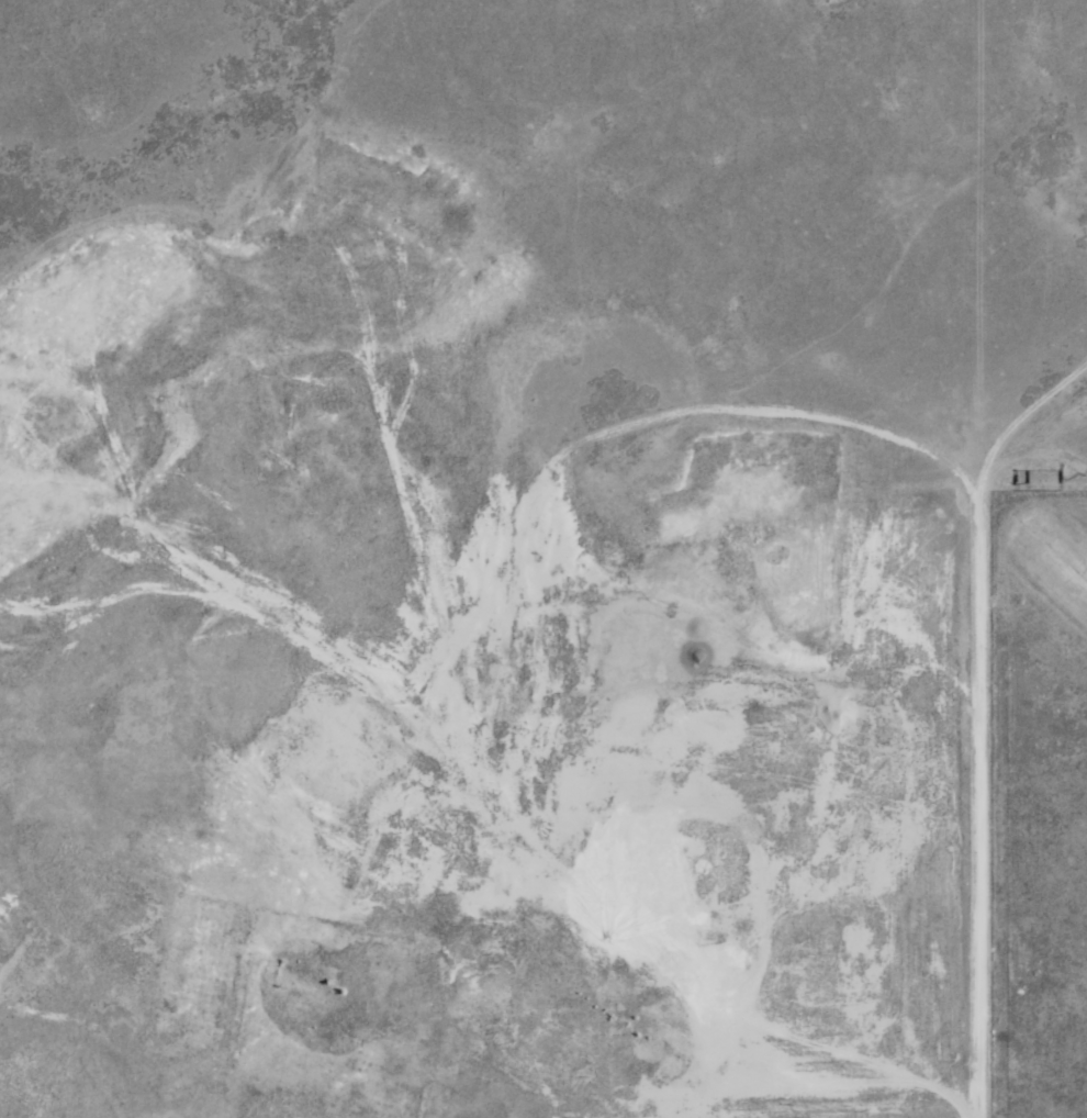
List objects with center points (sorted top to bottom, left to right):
road: (961, 709)

